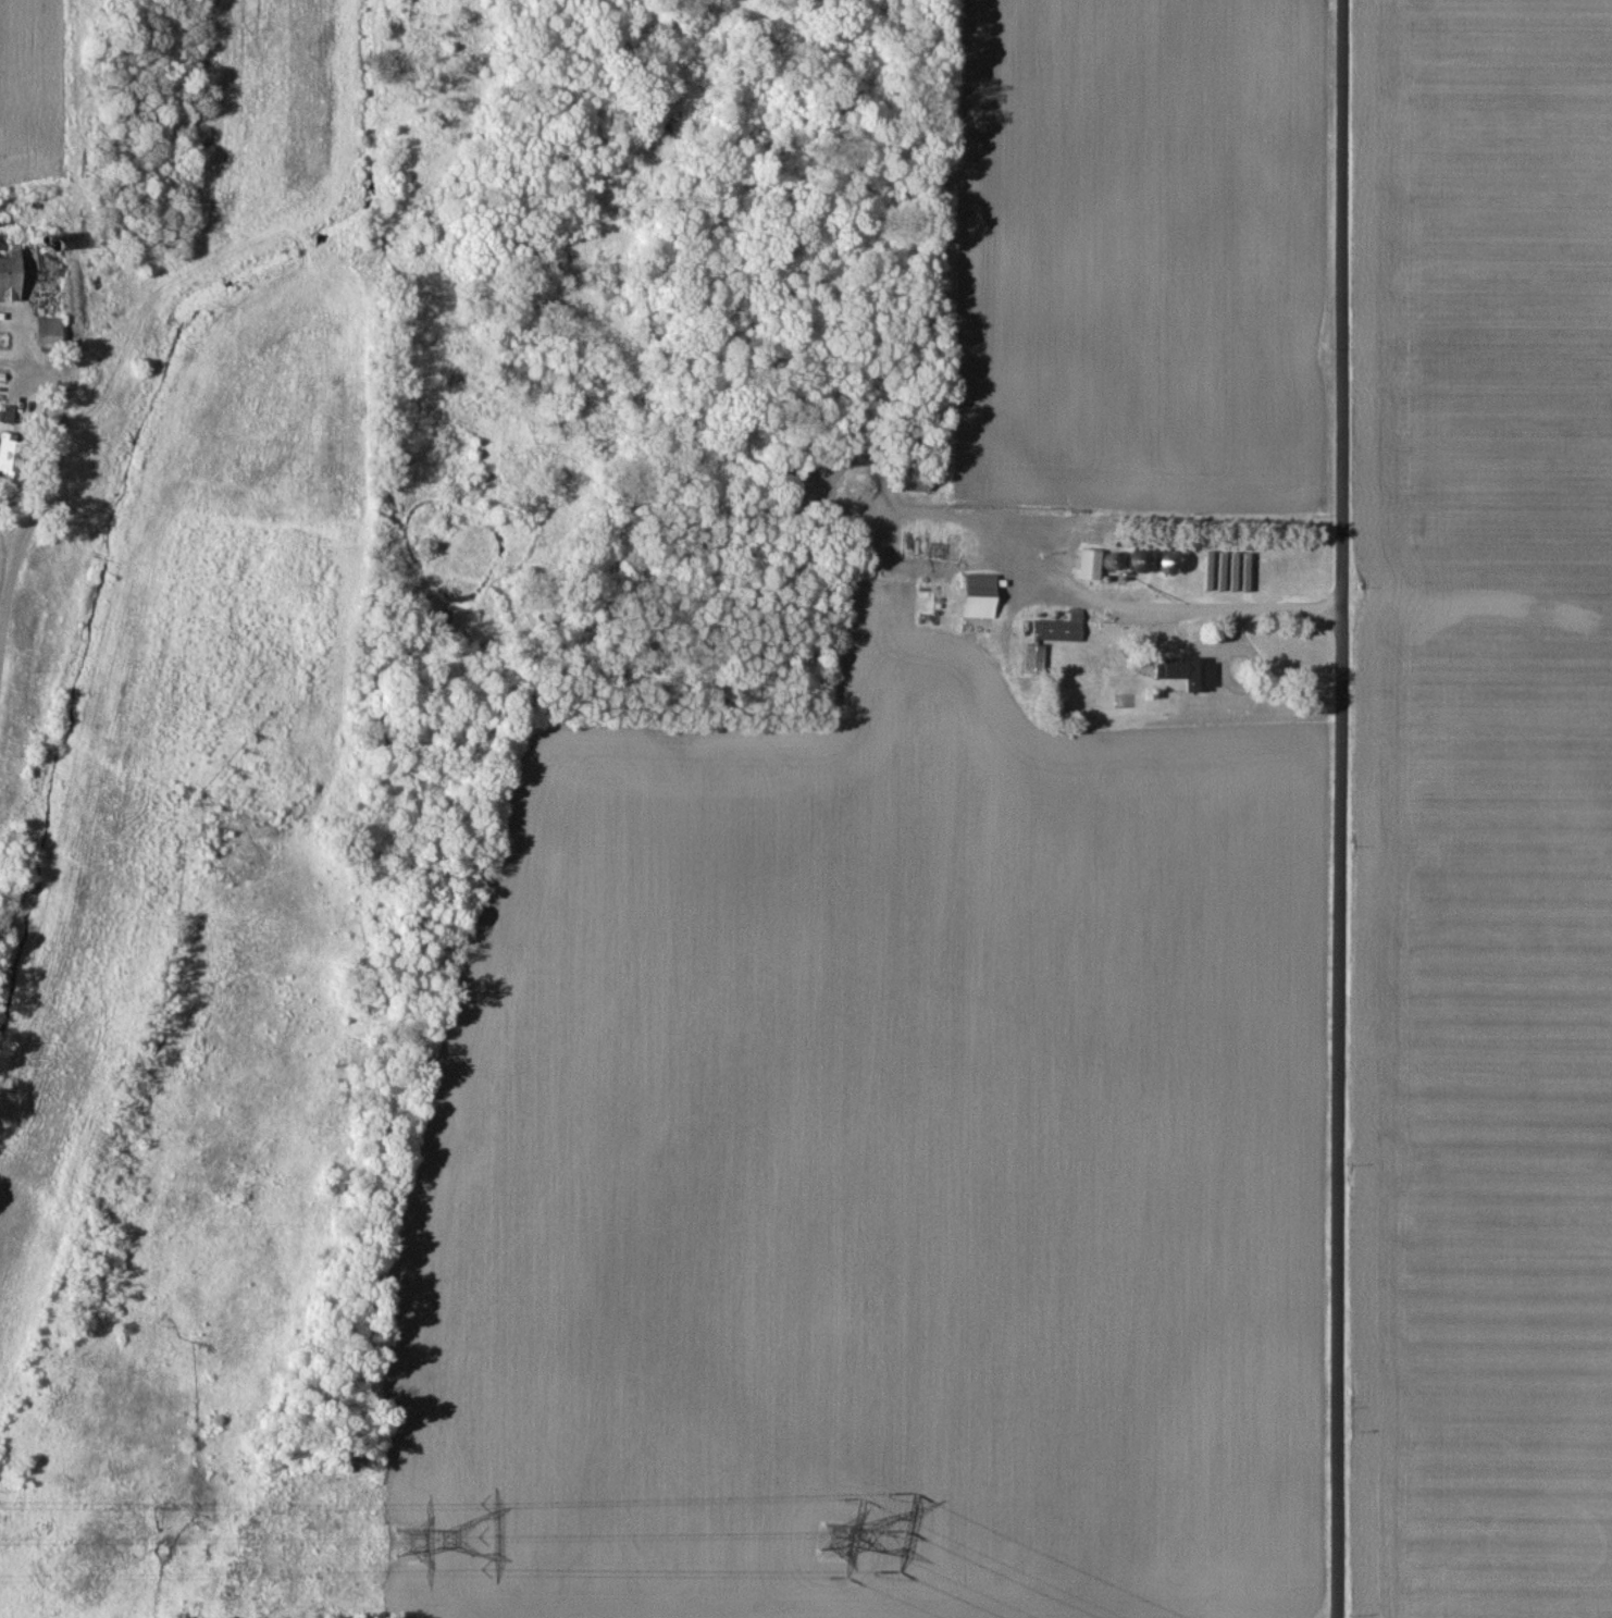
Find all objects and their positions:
building: (48, 328)
building: (8, 455)
road: (30, 529)
building: (937, 545)
building: (1090, 564)
building: (980, 595)
road: (1215, 606)
building: (1061, 626)
building: (1034, 657)
building: (1194, 671)
road: (1342, 808)
power tower: (836, 1543)
power tower: (410, 1545)

